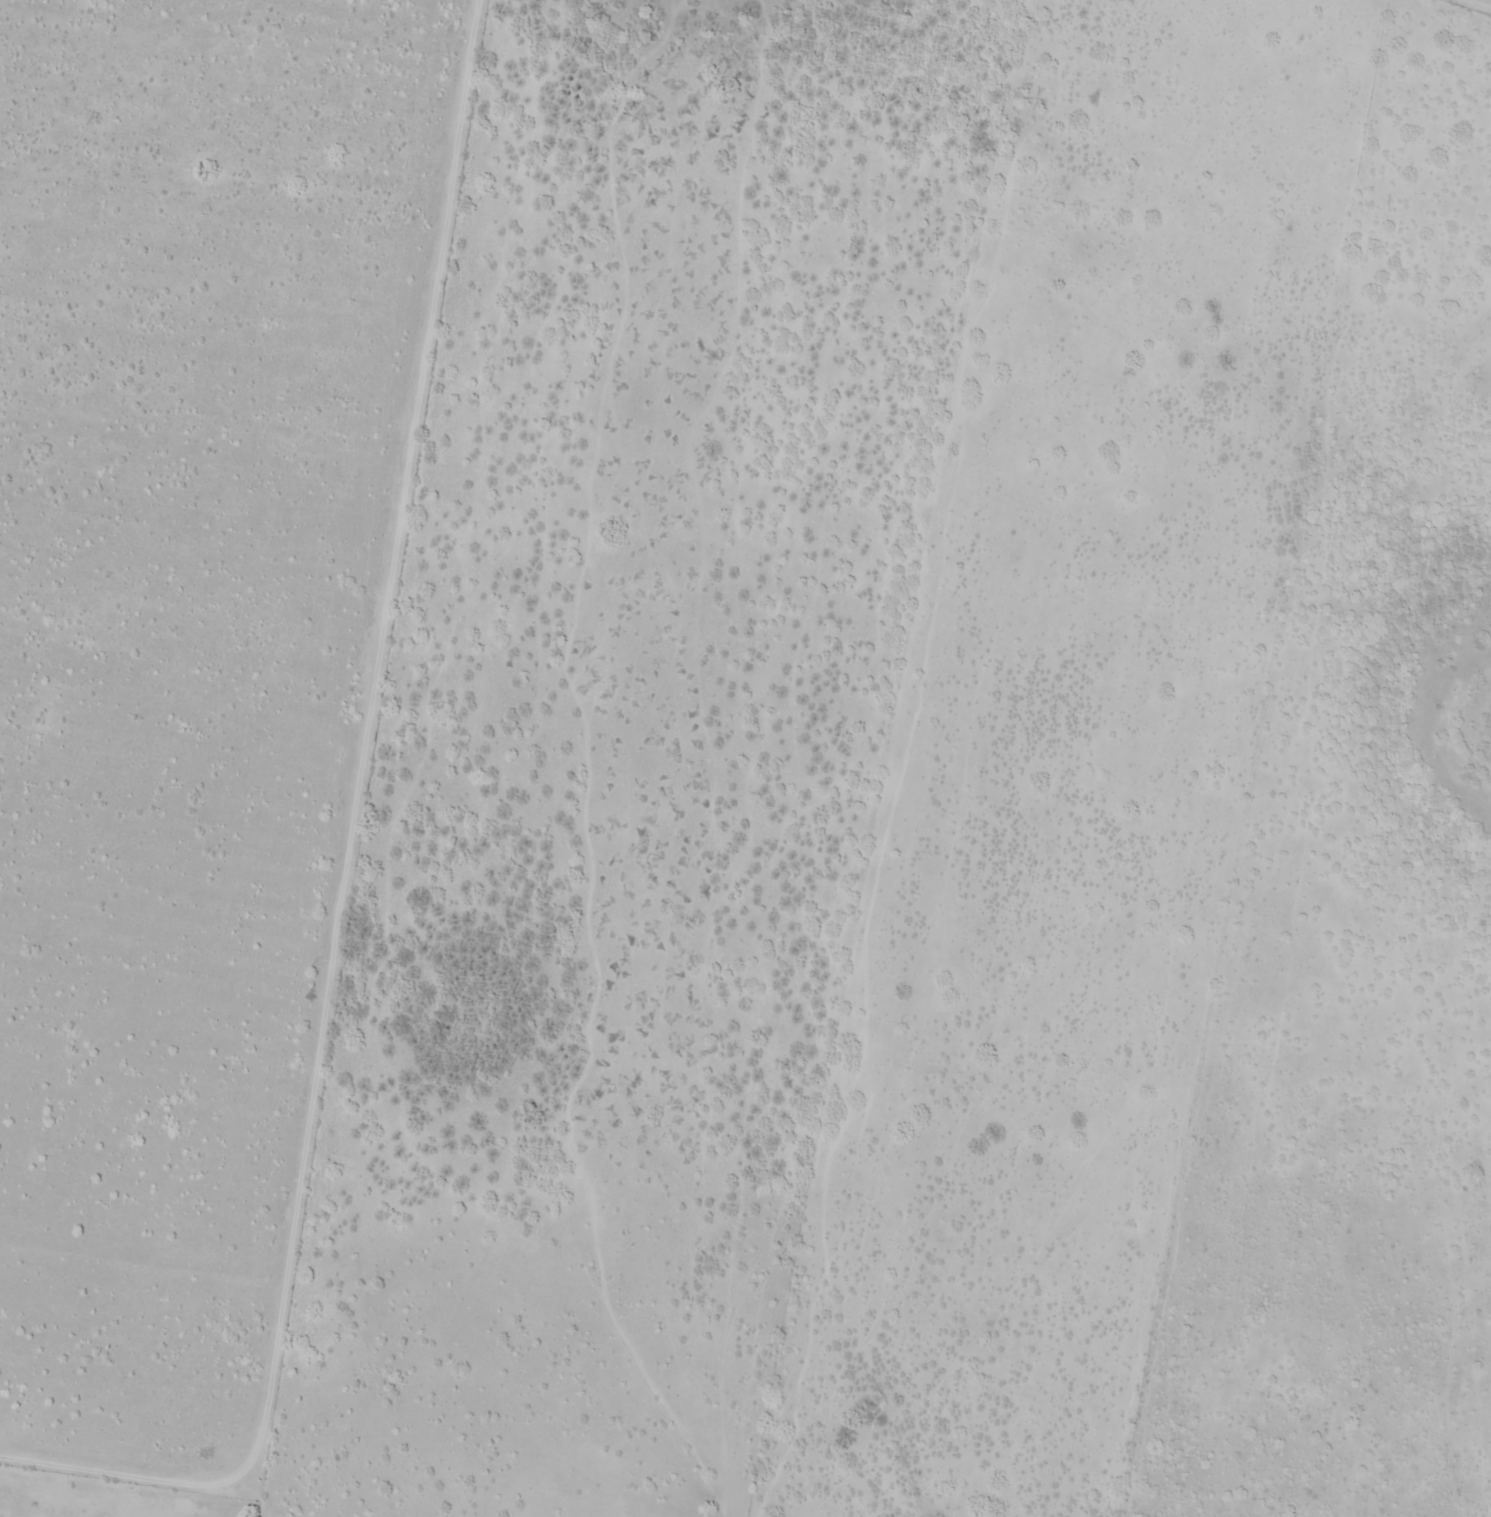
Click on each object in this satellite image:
road: (1486, 1)

